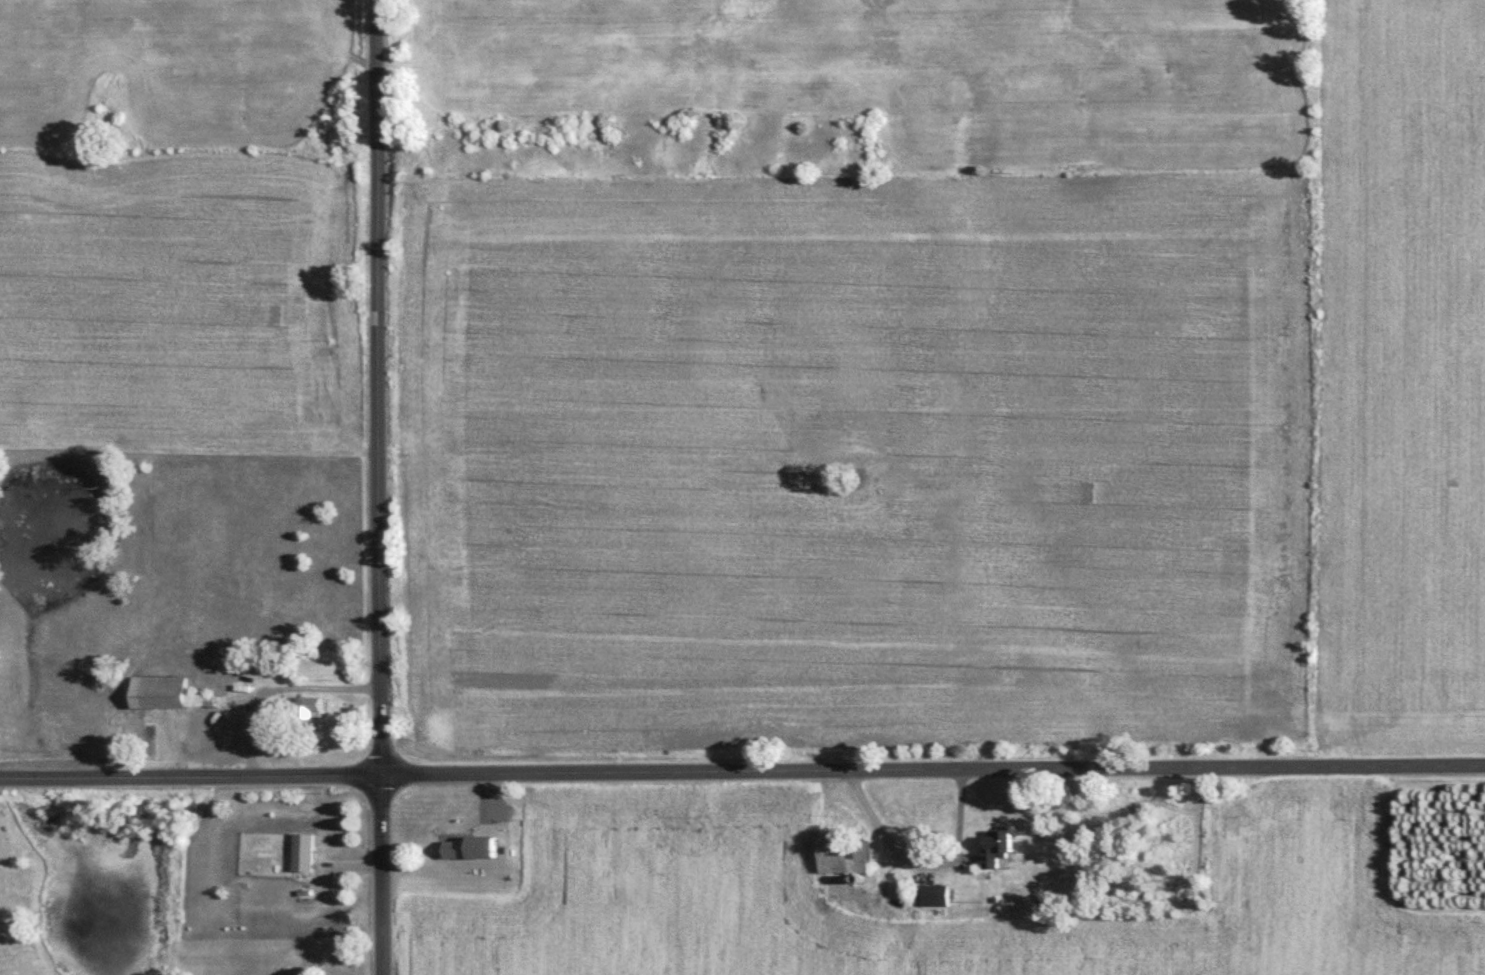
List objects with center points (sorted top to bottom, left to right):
road: (379, 487)
road: (277, 687)
building: (177, 704)
building: (307, 709)
road: (742, 770)
building: (306, 851)
building: (459, 852)
building: (997, 853)
building: (845, 859)
road: (922, 859)
road: (490, 870)

